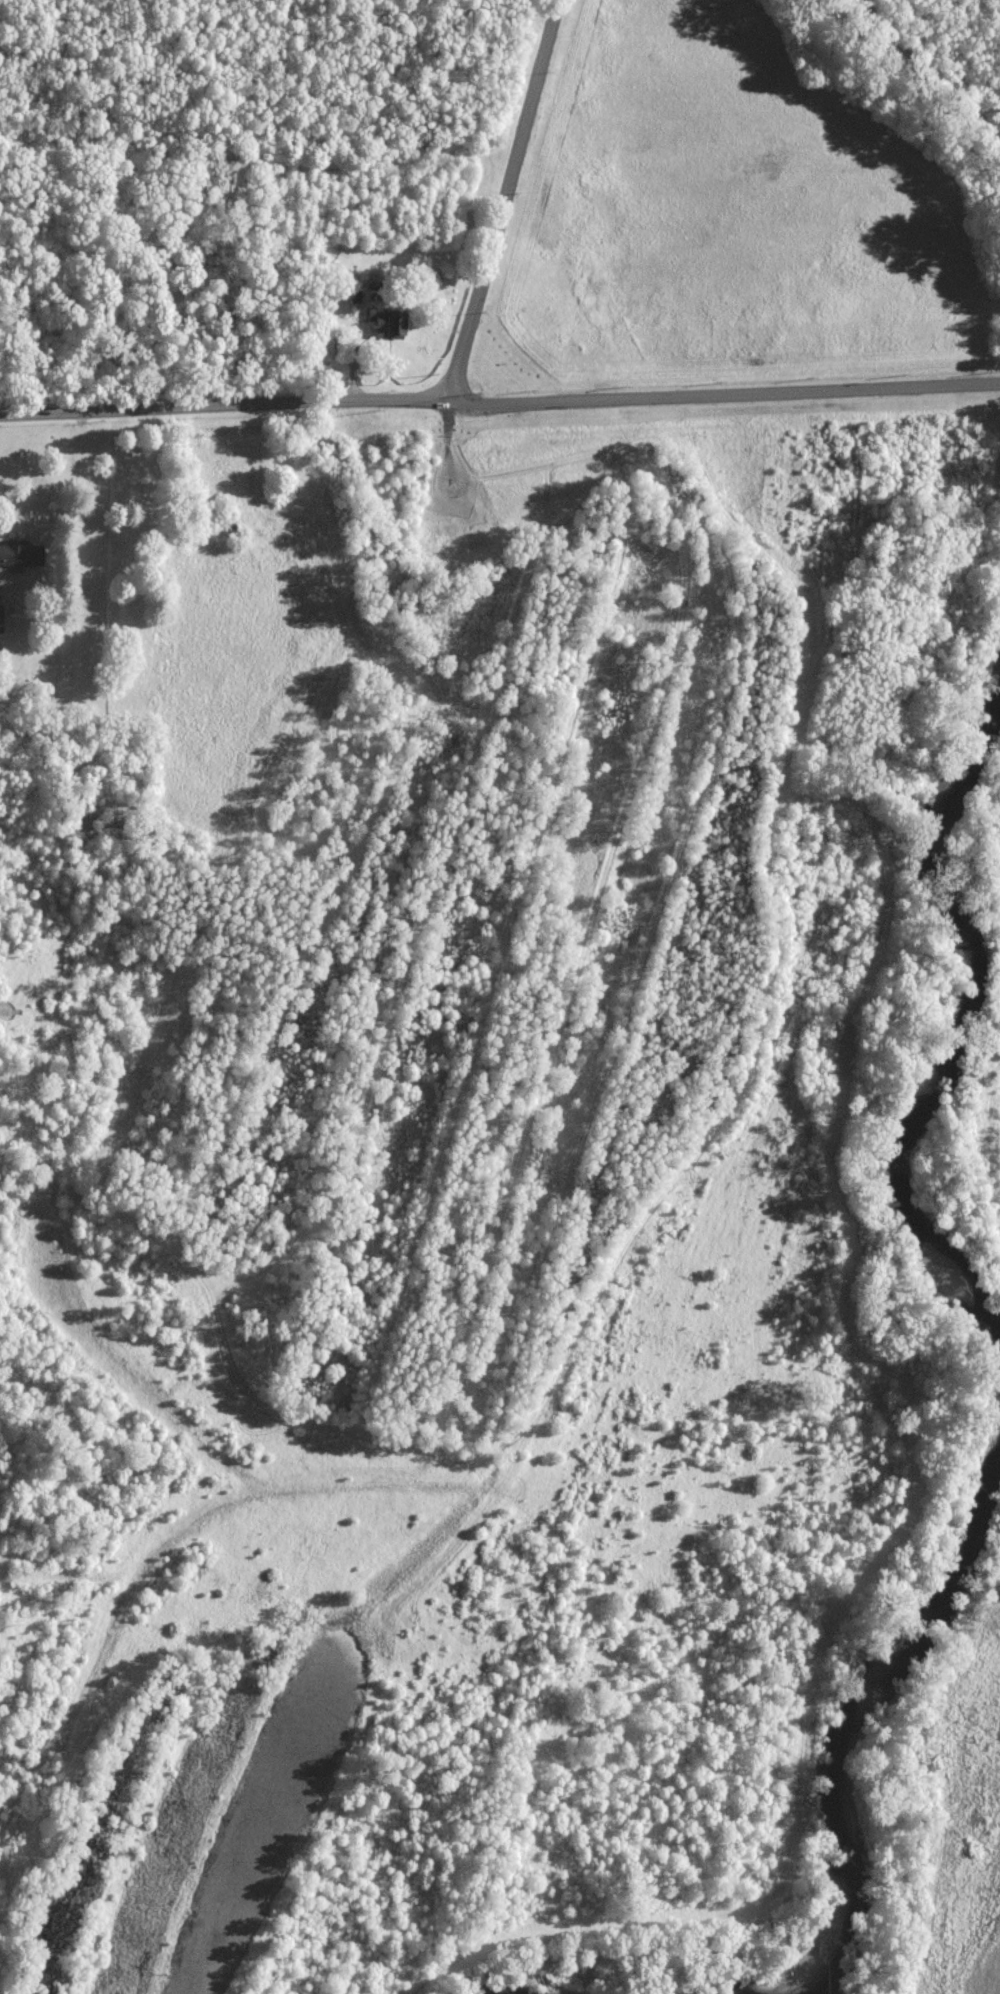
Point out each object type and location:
road: (190, 80)
road: (393, 80)
park: (250, 194)
road: (508, 194)
building: (388, 322)
road: (498, 401)
building: (21, 553)
building: (1, 618)
river: (938, 1081)
river: (843, 1715)
river: (525, 1989)

